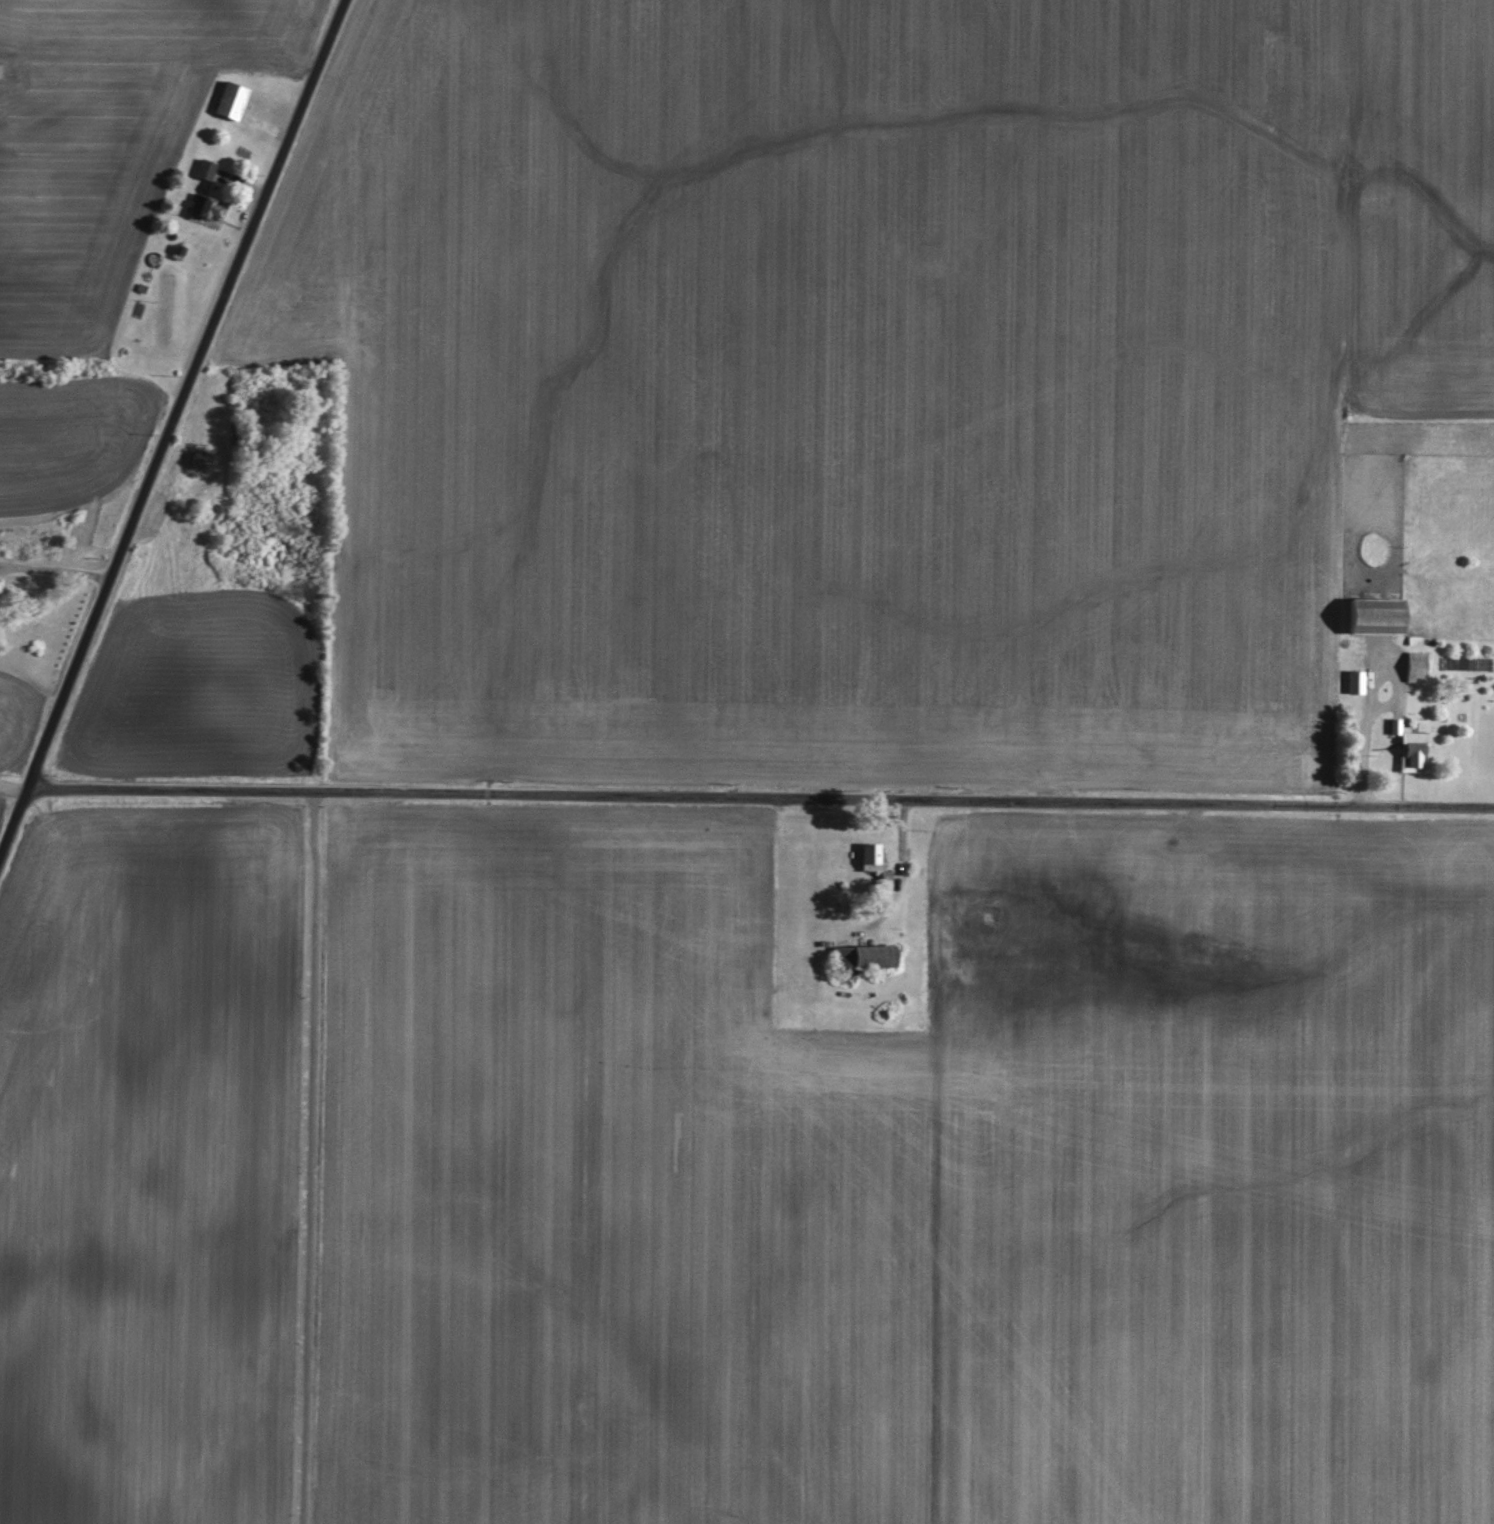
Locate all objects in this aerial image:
building: (225, 99)
building: (199, 168)
road: (169, 427)
road: (54, 570)
building: (1369, 613)
building: (1410, 664)
building: (1351, 679)
road: (1365, 729)
building: (1406, 748)
road: (762, 799)
road: (903, 854)
building: (866, 855)
building: (867, 953)

